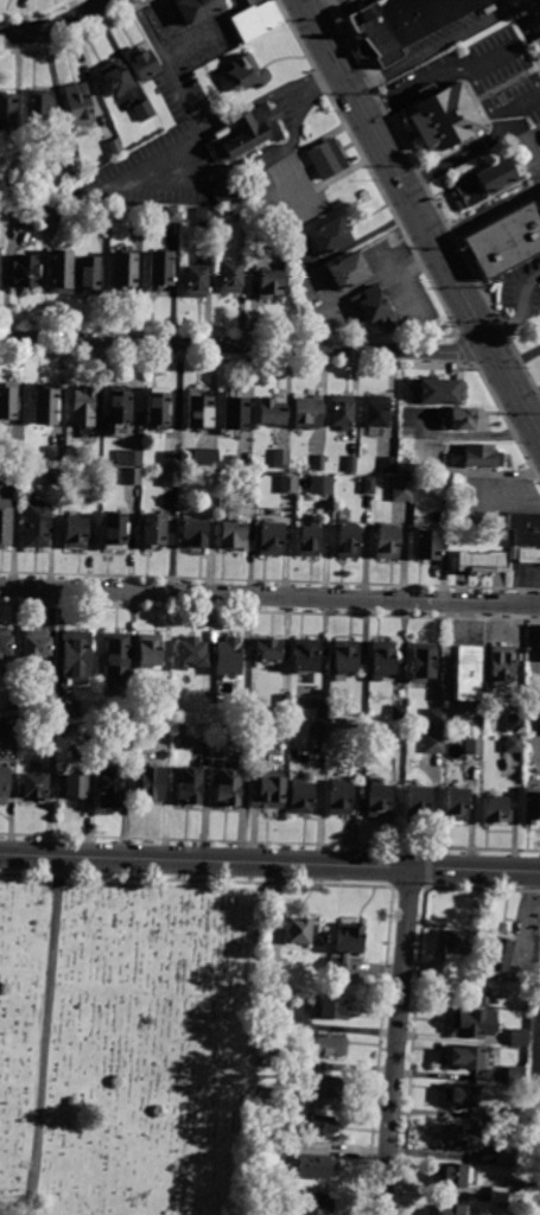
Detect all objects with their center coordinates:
road: (313, 5)
road: (534, 8)
building: (197, 9)
building: (255, 19)
building: (399, 23)
road: (57, 26)
road: (436, 46)
road: (488, 50)
building: (142, 63)
road: (526, 64)
road: (167, 65)
building: (247, 74)
building: (115, 77)
road: (266, 95)
building: (78, 104)
road: (516, 106)
building: (39, 108)
road: (375, 108)
road: (488, 110)
building: (6, 112)
building: (144, 112)
building: (443, 120)
flagpole: (402, 122)
building: (244, 133)
building: (114, 148)
road: (154, 158)
building: (326, 159)
building: (70, 170)
building: (483, 183)
building: (260, 184)
building: (13, 190)
building: (225, 191)
building: (364, 196)
building: (51, 211)
building: (138, 211)
building: (17, 212)
building: (102, 212)
building: (171, 214)
road: (485, 214)
building: (208, 216)
building: (244, 217)
road: (419, 220)
building: (329, 238)
building: (506, 238)
building: (260, 243)
building: (159, 271)
building: (25, 272)
building: (348, 272)
road: (398, 272)
building: (59, 273)
building: (122, 273)
building: (88, 275)
building: (229, 279)
building: (193, 284)
building: (269, 286)
building: (374, 307)
road: (517, 311)
traffic signals: (488, 344)
road: (243, 346)
building: (438, 392)
road: (528, 392)
building: (7, 397)
building: (117, 403)
building: (43, 405)
building: (157, 405)
building: (83, 406)
building: (197, 408)
building: (234, 409)
building: (271, 409)
building: (305, 409)
building: (341, 409)
building: (376, 413)
building: (458, 419)
building: (15, 453)
building: (56, 453)
building: (481, 454)
building: (205, 457)
building: (128, 458)
building: (280, 458)
building: (171, 459)
building: (231, 459)
building: (318, 463)
building: (351, 463)
building: (388, 464)
building: (406, 467)
building: (12, 475)
building: (53, 476)
building: (132, 476)
building: (171, 478)
building: (287, 483)
building: (320, 484)
building: (369, 484)
building: (445, 485)
building: (401, 488)
building: (37, 524)
building: (5, 526)
building: (526, 527)
building: (113, 530)
building: (154, 530)
building: (75, 533)
building: (192, 533)
building: (233, 534)
building: (269, 537)
building: (348, 539)
building: (307, 540)
building: (387, 542)
building: (426, 543)
building: (529, 554)
building: (481, 562)
road: (269, 597)
building: (5, 641)
building: (34, 644)
building: (148, 649)
building: (268, 650)
building: (191, 653)
building: (115, 654)
building: (76, 655)
building: (305, 655)
building: (228, 656)
building: (344, 659)
building: (382, 659)
building: (423, 662)
building: (501, 664)
building: (466, 673)
building: (165, 698)
building: (208, 699)
building: (11, 701)
building: (46, 702)
building: (285, 702)
building: (68, 710)
building: (322, 710)
building: (399, 713)
building: (436, 718)
building: (515, 723)
building: (296, 726)
building: (8, 727)
building: (46, 729)
building: (362, 729)
building: (319, 730)
building: (68, 731)
building: (120, 731)
building: (163, 732)
building: (433, 743)
building: (513, 744)
building: (475, 745)
building: (4, 781)
building: (150, 783)
building: (32, 784)
building: (189, 784)
building: (108, 785)
building: (70, 787)
building: (228, 788)
building: (268, 794)
building: (300, 799)
building: (342, 799)
building: (380, 802)
building: (418, 802)
building: (457, 804)
building: (532, 807)
building: (496, 810)
road: (269, 861)
building: (299, 930)
building: (455, 940)
building: (345, 944)
building: (500, 955)
building: (484, 995)
building: (332, 1009)
building: (272, 1020)
building: (472, 1023)
park: (129, 1033)
road: (45, 1036)
building: (520, 1036)
road: (538, 1036)
road: (396, 1041)
building: (329, 1045)
road: (538, 1050)
building: (465, 1055)
building: (269, 1060)
road: (534, 1073)
building: (516, 1075)
building: (320, 1087)
parking lot: (538, 1087)
building: (459, 1094)
building: (266, 1095)
building: (502, 1117)
building: (322, 1126)
building: (261, 1130)
building: (459, 1134)
building: (529, 1144)
building: (268, 1153)
building: (508, 1154)
building: (316, 1166)
building: (452, 1173)
building: (527, 1190)
building: (502, 1194)
building: (315, 1204)
building: (258, 1209)
building: (451, 1209)

